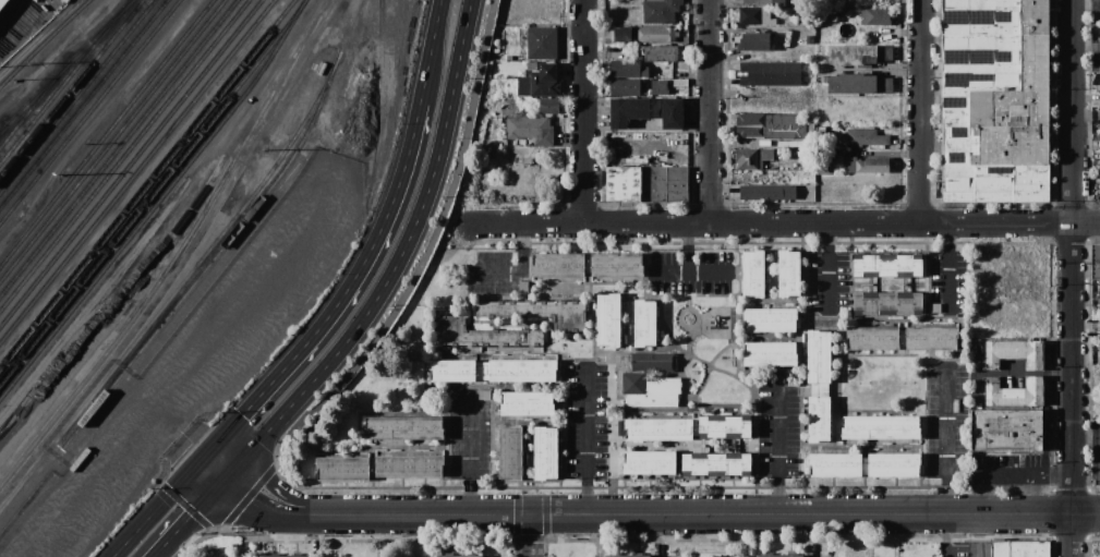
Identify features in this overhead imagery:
building: (765, 2)
road: (1086, 2)
building: (2, 3)
building: (660, 11)
building: (785, 14)
building: (874, 15)
building: (758, 16)
railway: (348, 24)
building: (624, 34)
building: (655, 34)
railway: (40, 39)
building: (754, 41)
building: (542, 43)
road: (1086, 48)
road: (430, 51)
building: (663, 53)
building: (851, 55)
building: (509, 58)
railway: (67, 61)
building: (548, 66)
building: (627, 69)
building: (770, 73)
building: (679, 82)
railway: (59, 83)
building: (851, 83)
railway: (69, 85)
building: (626, 86)
building: (542, 87)
building: (658, 87)
railway: (74, 93)
railway: (37, 96)
building: (994, 99)
railway: (80, 100)
railway: (378, 101)
building: (547, 105)
railway: (86, 108)
railway: (16, 110)
road: (583, 111)
building: (628, 111)
road: (711, 111)
road: (920, 111)
building: (672, 113)
building: (764, 125)
building: (824, 126)
building: (531, 129)
railway: (105, 131)
railway: (109, 137)
building: (866, 137)
railway: (116, 145)
railway: (122, 153)
building: (754, 158)
building: (522, 159)
railway: (129, 160)
building: (634, 160)
building: (807, 160)
building: (824, 161)
building: (866, 165)
railway: (135, 169)
railway: (144, 181)
building: (646, 184)
railway: (150, 190)
building: (766, 191)
railway: (155, 199)
road: (996, 222)
road: (1086, 222)
road: (533, 223)
road: (752, 223)
railway: (176, 250)
railway: (211, 255)
road: (396, 262)
building: (1096, 262)
building: (616, 264)
building: (558, 265)
building: (887, 265)
road: (516, 267)
road: (825, 268)
road: (948, 268)
road: (685, 270)
road: (666, 273)
building: (753, 273)
building: (789, 273)
building: (483, 274)
road: (1073, 278)
railway: (178, 283)
building: (523, 287)
building: (813, 288)
building: (482, 290)
road: (342, 294)
building: (813, 294)
building: (813, 302)
building: (887, 303)
building: (936, 307)
building: (813, 308)
road: (396, 312)
building: (536, 312)
building: (608, 319)
building: (771, 319)
building: (644, 323)
building: (480, 335)
building: (902, 338)
building: (770, 353)
building: (1015, 353)
building: (493, 371)
building: (611, 372)
building: (640, 375)
building: (793, 383)
building: (818, 386)
building: (764, 389)
building: (1016, 392)
building: (485, 395)
building: (764, 397)
building: (527, 403)
building: (764, 405)
building: (764, 414)
building: (403, 427)
building: (880, 427)
building: (689, 428)
building: (1007, 429)
road: (589, 440)
building: (959, 447)
road: (468, 450)
building: (545, 452)
road: (778, 452)
traffic signals: (207, 453)
building: (511, 453)
road: (947, 463)
road: (217, 464)
building: (409, 464)
building: (865, 464)
building: (686, 465)
building: (343, 468)
traffic signals: (228, 476)
road: (266, 502)
road: (158, 505)
road: (1087, 513)
road: (692, 514)
road: (190, 516)
road: (533, 535)
building: (1000, 549)
building: (1029, 549)
building: (286, 556)
building: (459, 556)
building: (627, 556)
building: (713, 556)
building: (777, 556)

